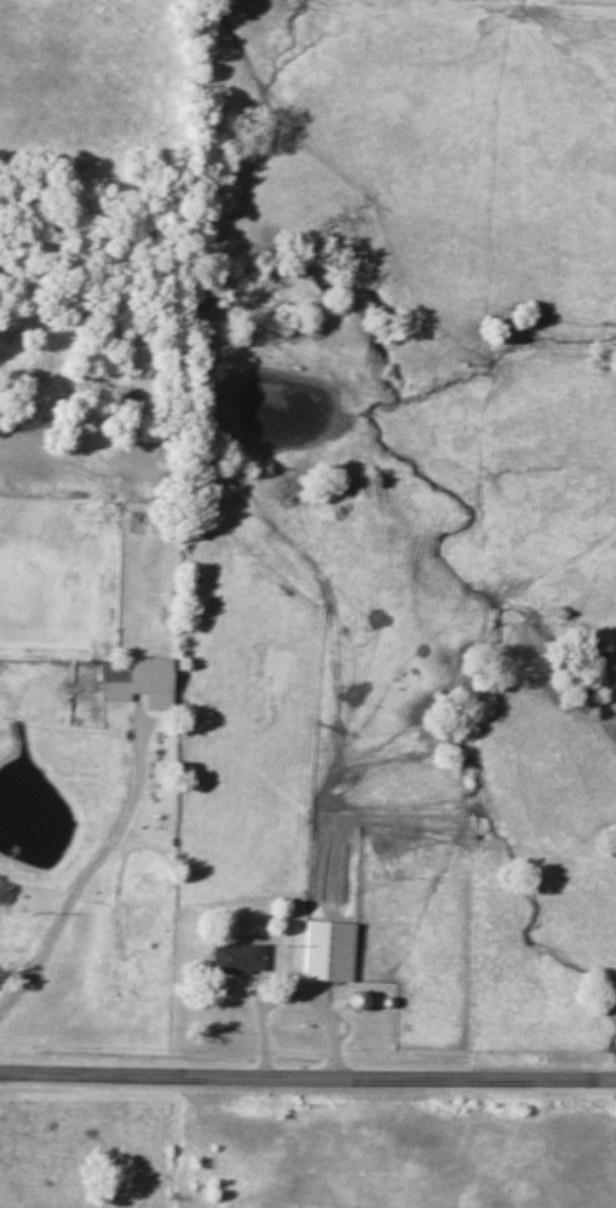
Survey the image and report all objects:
building: (136, 680)
road: (91, 870)
building: (15, 931)
building: (327, 950)
building: (235, 956)
road: (292, 995)
road: (307, 1081)

